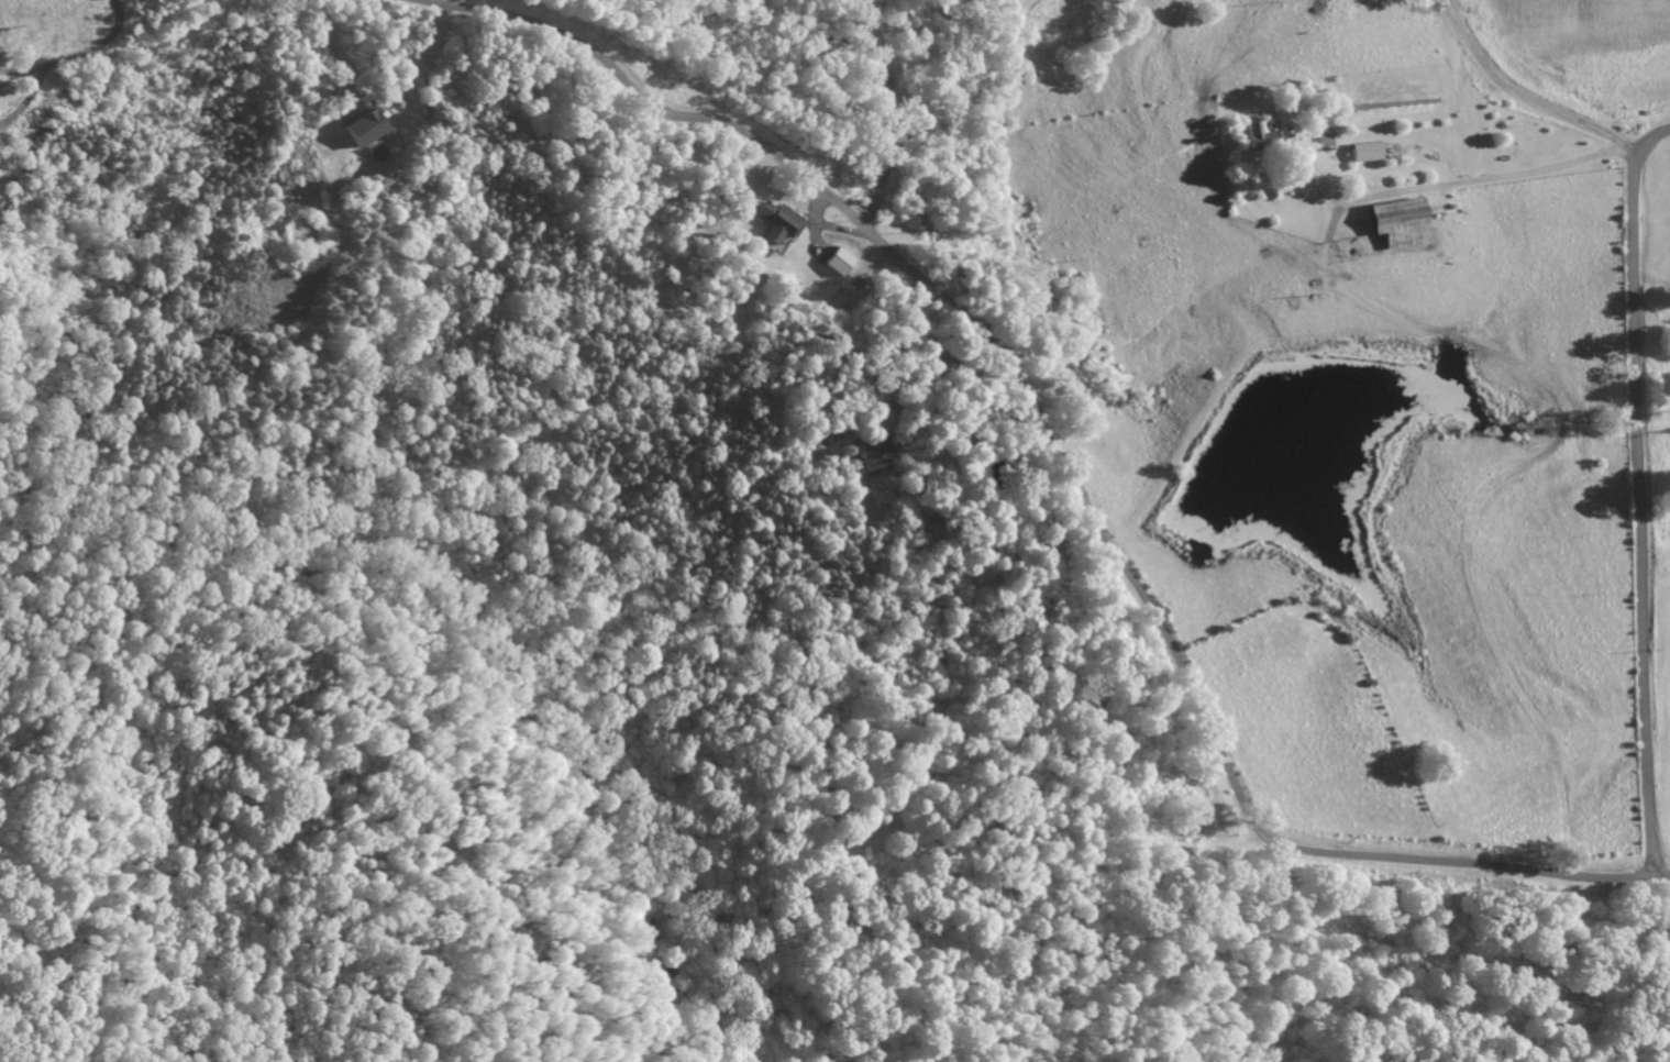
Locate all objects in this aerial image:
road: (335, 48)
road: (891, 108)
building: (367, 126)
building: (1265, 129)
building: (1324, 139)
building: (1367, 151)
building: (778, 222)
building: (1402, 222)
road: (1414, 234)
building: (839, 261)
road: (1633, 262)
road: (1392, 301)
building: (814, 450)
road: (1062, 469)
road: (1640, 643)

